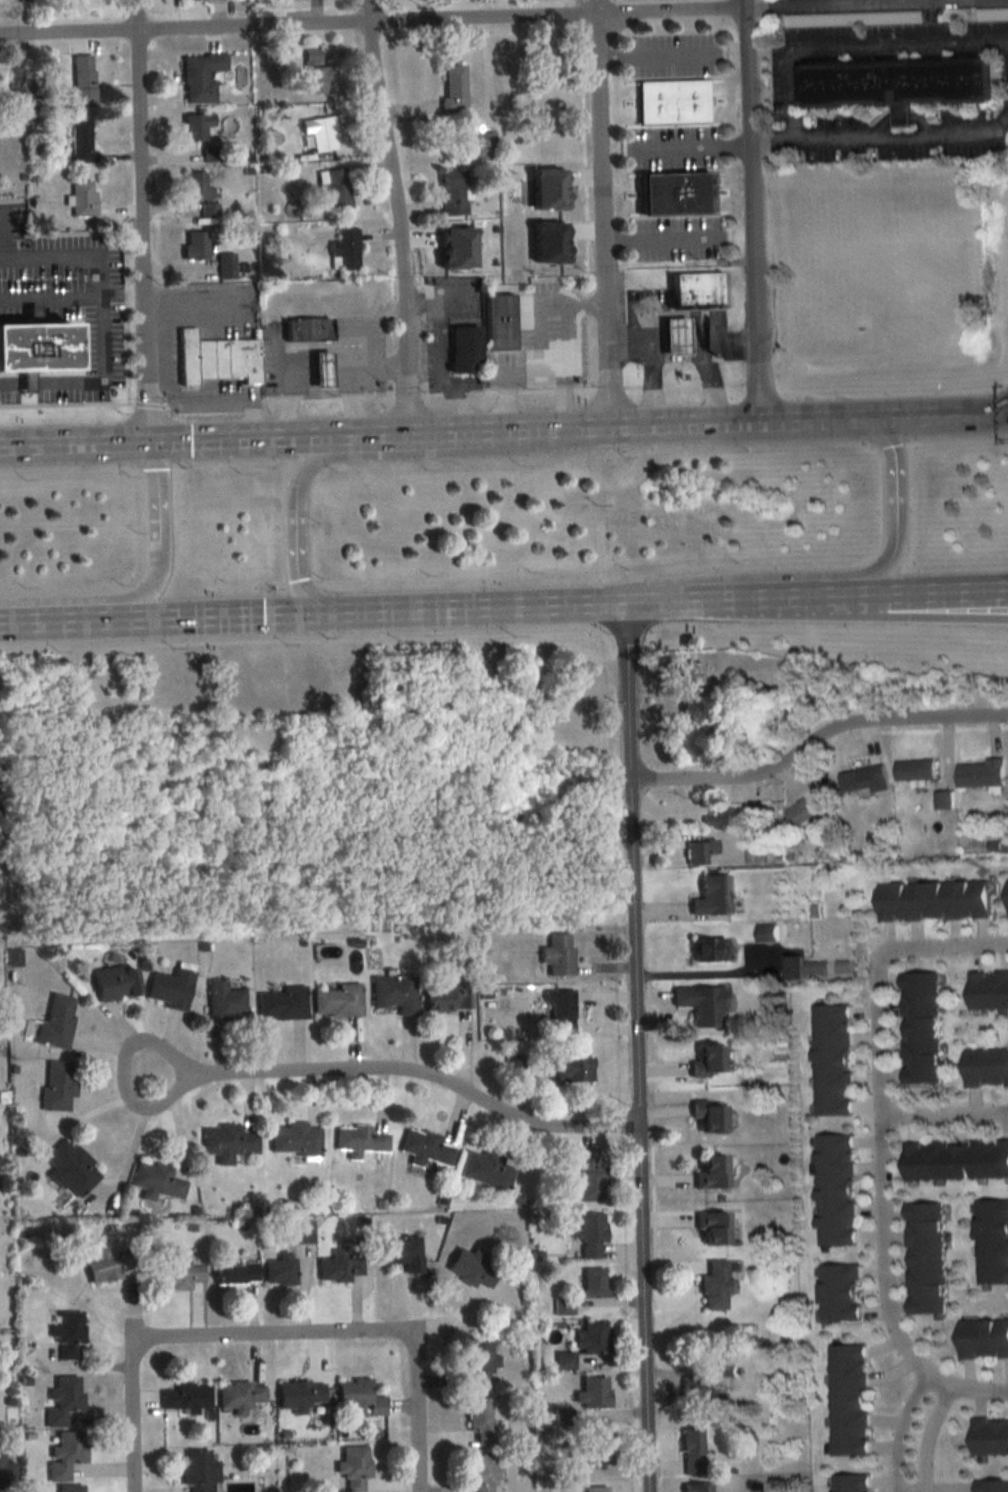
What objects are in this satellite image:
road: (864, 4)
building: (849, 19)
road: (372, 22)
road: (855, 45)
road: (671, 55)
building: (312, 72)
building: (199, 76)
building: (82, 80)
building: (898, 85)
building: (453, 89)
building: (671, 103)
building: (195, 125)
building: (318, 132)
road: (883, 134)
building: (81, 140)
building: (482, 145)
road: (674, 147)
building: (196, 185)
building: (333, 187)
building: (451, 191)
building: (674, 192)
building: (82, 198)
road: (749, 210)
road: (602, 211)
road: (395, 215)
road: (141, 219)
road: (676, 238)
building: (195, 244)
building: (343, 249)
building: (225, 265)
building: (697, 289)
road: (72, 297)
road: (103, 300)
road: (439, 301)
road: (199, 302)
road: (539, 305)
building: (498, 321)
building: (305, 328)
building: (675, 334)
road: (676, 338)
road: (635, 339)
road: (724, 342)
road: (441, 343)
building: (462, 344)
building: (35, 345)
road: (278, 348)
building: (217, 356)
building: (319, 367)
building: (537, 368)
road: (539, 369)
road: (315, 372)
road: (709, 376)
road: (651, 381)
road: (9, 384)
traffic signals: (148, 395)
road: (562, 397)
road: (180, 401)
road: (350, 402)
road: (456, 405)
road: (941, 413)
road: (741, 420)
road: (470, 429)
road: (165, 438)
traffic signals: (190, 438)
road: (309, 459)
traffic signals: (156, 468)
road: (157, 499)
road: (896, 508)
road: (296, 553)
traffic signals: (299, 578)
road: (950, 589)
road: (146, 591)
road: (874, 591)
road: (774, 595)
road: (659, 600)
road: (950, 600)
road: (374, 609)
traffic signals: (263, 612)
road: (61, 618)
road: (312, 637)
building: (688, 673)
road: (814, 739)
building: (914, 771)
building: (980, 773)
building: (863, 779)
building: (942, 799)
building: (804, 810)
building: (723, 817)
building: (699, 851)
building: (1007, 892)
building: (712, 895)
building: (932, 900)
building: (765, 932)
road: (938, 946)
building: (708, 950)
building: (557, 954)
building: (804, 967)
road: (710, 972)
building: (114, 983)
building: (169, 989)
building: (988, 989)
building: (394, 993)
building: (447, 999)
building: (337, 1001)
building: (225, 1002)
building: (282, 1004)
building: (702, 1004)
building: (559, 1011)
building: (56, 1021)
building: (920, 1027)
road: (634, 1046)
building: (832, 1059)
building: (707, 1060)
building: (514, 1066)
building: (986, 1067)
road: (421, 1069)
building: (570, 1069)
road: (124, 1072)
building: (58, 1086)
road: (943, 1114)
building: (708, 1115)
building: (294, 1138)
building: (361, 1141)
building: (226, 1142)
building: (425, 1149)
building: (955, 1160)
building: (70, 1168)
road: (880, 1168)
building: (485, 1170)
building: (710, 1172)
building: (587, 1176)
building: (155, 1181)
building: (834, 1189)
building: (711, 1227)
building: (301, 1232)
building: (590, 1234)
building: (992, 1241)
building: (403, 1252)
building: (924, 1258)
building: (107, 1265)
building: (338, 1267)
building: (470, 1267)
building: (279, 1270)
building: (177, 1273)
building: (235, 1273)
building: (593, 1282)
building: (715, 1285)
building: (838, 1293)
building: (67, 1335)
road: (276, 1337)
building: (592, 1337)
building: (982, 1338)
building: (478, 1364)
road: (958, 1384)
building: (698, 1390)
building: (591, 1392)
building: (299, 1394)
building: (185, 1395)
building: (239, 1396)
building: (358, 1397)
building: (848, 1399)
building: (63, 1400)
building: (479, 1419)
road: (898, 1426)
road: (924, 1433)
building: (989, 1436)
building: (598, 1448)
building: (691, 1451)
building: (65, 1454)
building: (353, 1468)
building: (2, 1470)
building: (199, 1470)
building: (481, 1472)
building: (850, 1483)
building: (992, 1486)
building: (71, 1488)
building: (697, 1488)
building: (595, 1489)
road: (907, 1490)

